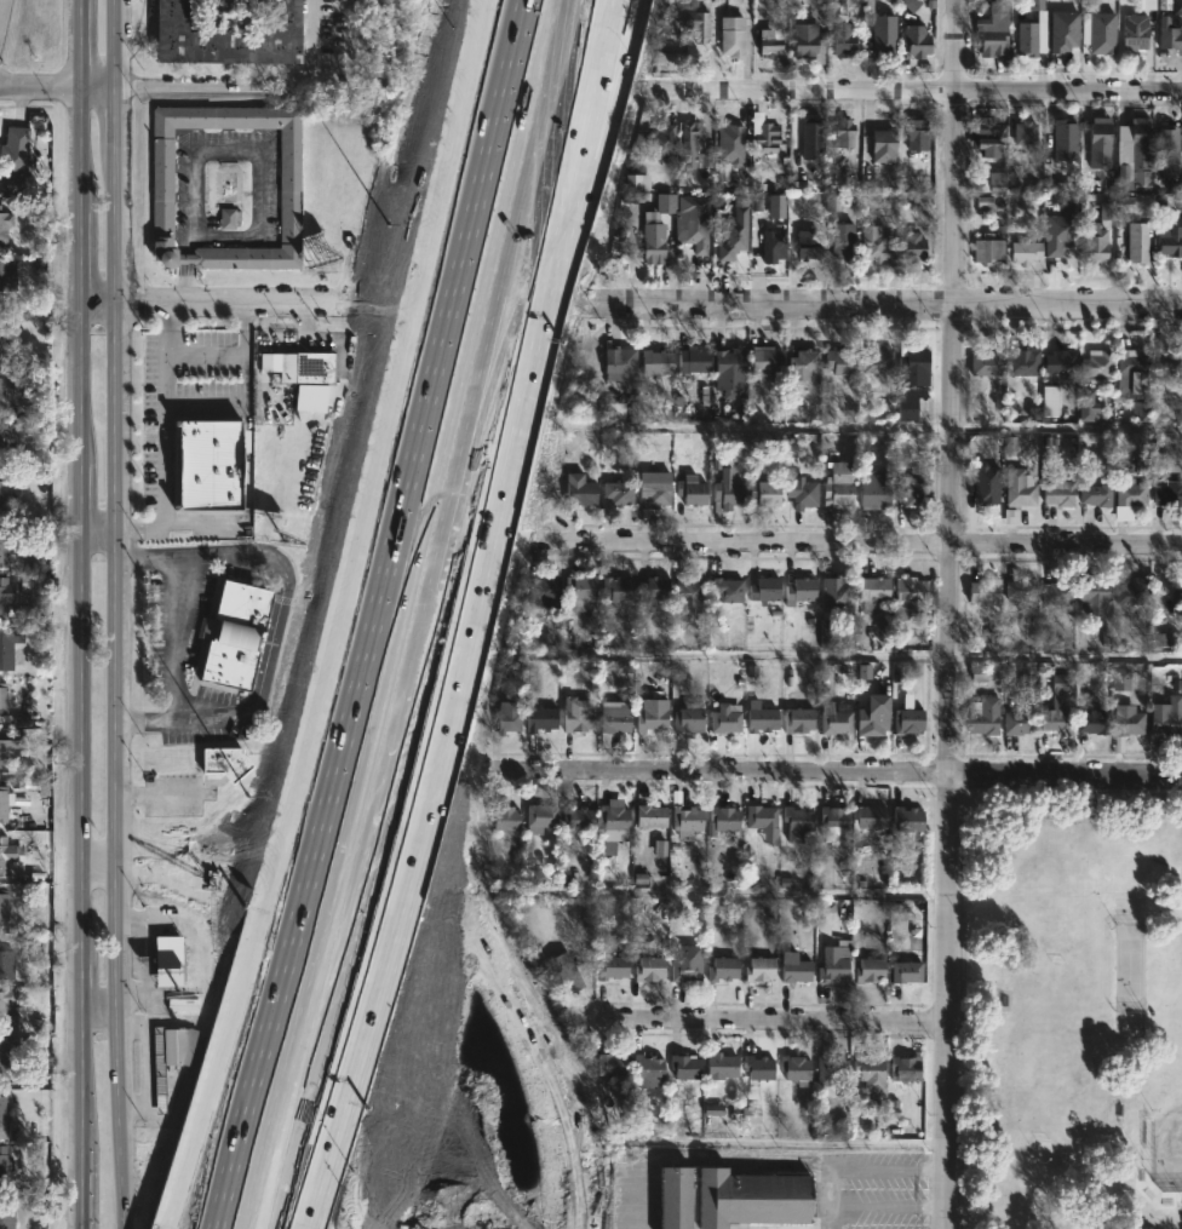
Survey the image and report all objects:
building: (1148, 5)
building: (1176, 6)
road: (478, 12)
building: (331, 22)
building: (696, 24)
building: (1062, 30)
building: (1100, 31)
building: (1134, 31)
building: (1170, 34)
building: (731, 35)
building: (883, 35)
building: (994, 35)
building: (1031, 35)
building: (223, 36)
building: (844, 39)
building: (768, 41)
building: (807, 42)
road: (115, 44)
building: (917, 45)
road: (312, 62)
road: (57, 84)
road: (191, 87)
road: (916, 91)
road: (115, 115)
building: (810, 132)
building: (843, 133)
building: (1023, 133)
building: (763, 134)
building: (916, 134)
building: (985, 134)
building: (1100, 138)
building: (1063, 140)
building: (1166, 143)
building: (660, 144)
building: (690, 145)
building: (882, 145)
road: (576, 149)
road: (587, 149)
building: (1138, 159)
building: (16, 161)
building: (161, 182)
building: (1137, 203)
building: (776, 207)
building: (688, 222)
building: (5, 223)
building: (840, 235)
building: (730, 240)
building: (653, 241)
building: (1169, 241)
building: (876, 243)
building: (1094, 243)
building: (1136, 243)
building: (804, 245)
building: (770, 246)
building: (911, 246)
building: (986, 249)
building: (1023, 252)
building: (2, 274)
road: (891, 301)
road: (211, 304)
building: (5, 333)
road: (229, 355)
building: (692, 361)
building: (1061, 361)
building: (616, 362)
building: (729, 362)
building: (763, 362)
building: (803, 362)
building: (839, 362)
building: (876, 362)
building: (654, 363)
building: (1023, 363)
building: (1095, 363)
building: (986, 364)
building: (1166, 366)
building: (311, 368)
building: (1132, 373)
building: (911, 381)
building: (6, 384)
road: (1067, 427)
road: (167, 435)
building: (7, 436)
road: (86, 437)
building: (205, 464)
building: (837, 486)
building: (653, 488)
building: (578, 490)
road: (497, 492)
building: (689, 492)
building: (873, 492)
building: (618, 493)
building: (763, 493)
building: (802, 493)
building: (912, 493)
building: (725, 494)
building: (1020, 494)
building: (1058, 494)
building: (1095, 494)
building: (1130, 494)
building: (1169, 494)
building: (2, 495)
road: (119, 495)
road: (103, 534)
road: (865, 542)
building: (2, 547)
road: (195, 555)
building: (874, 587)
building: (543, 588)
building: (653, 590)
building: (690, 590)
building: (727, 590)
building: (763, 590)
building: (1019, 590)
building: (576, 591)
building: (799, 591)
building: (982, 592)
building: (1132, 592)
building: (615, 593)
building: (1055, 593)
building: (836, 595)
building: (1094, 595)
building: (912, 596)
building: (4, 597)
building: (1177, 597)
road: (342, 602)
road: (404, 614)
road: (949, 614)
building: (230, 637)
road: (271, 637)
building: (6, 655)
road: (177, 666)
building: (2, 700)
building: (575, 713)
building: (650, 713)
road: (211, 714)
building: (509, 714)
building: (687, 717)
building: (982, 717)
building: (538, 718)
building: (612, 718)
building: (724, 718)
building: (759, 718)
building: (870, 718)
building: (1169, 718)
building: (797, 719)
building: (1056, 719)
building: (1094, 719)
building: (833, 720)
building: (905, 723)
building: (1017, 723)
building: (1128, 724)
building: (1, 756)
building: (222, 760)
road: (838, 771)
road: (157, 794)
building: (4, 800)
building: (649, 815)
building: (503, 816)
building: (759, 816)
building: (868, 816)
building: (575, 817)
building: (685, 817)
building: (539, 819)
building: (906, 819)
building: (615, 820)
building: (721, 821)
building: (796, 821)
building: (837, 823)
road: (101, 848)
building: (6, 854)
building: (1, 904)
road: (379, 955)
building: (168, 958)
building: (5, 960)
building: (684, 960)
building: (834, 961)
building: (613, 964)
building: (648, 967)
building: (758, 967)
building: (792, 967)
park: (1128, 967)
building: (721, 969)
building: (868, 969)
building: (905, 971)
building: (563, 972)
building: (7, 1003)
road: (132, 1007)
road: (102, 1009)
road: (145, 1009)
park: (1074, 1012)
park: (1075, 1012)
road: (761, 1021)
road: (120, 1038)
road: (82, 1051)
building: (168, 1056)
building: (6, 1062)
building: (609, 1064)
building: (683, 1066)
building: (719, 1066)
building: (793, 1067)
park: (1165, 1067)
building: (757, 1068)
building: (903, 1068)
building: (647, 1069)
building: (828, 1073)
building: (870, 1078)
building: (2, 1110)
road: (687, 1160)
road: (884, 1162)
building: (4, 1164)
parking lot: (870, 1191)
building: (727, 1198)
road: (862, 1204)
road: (177, 1214)
road: (824, 1216)
building: (6, 1219)
road: (302, 1225)

